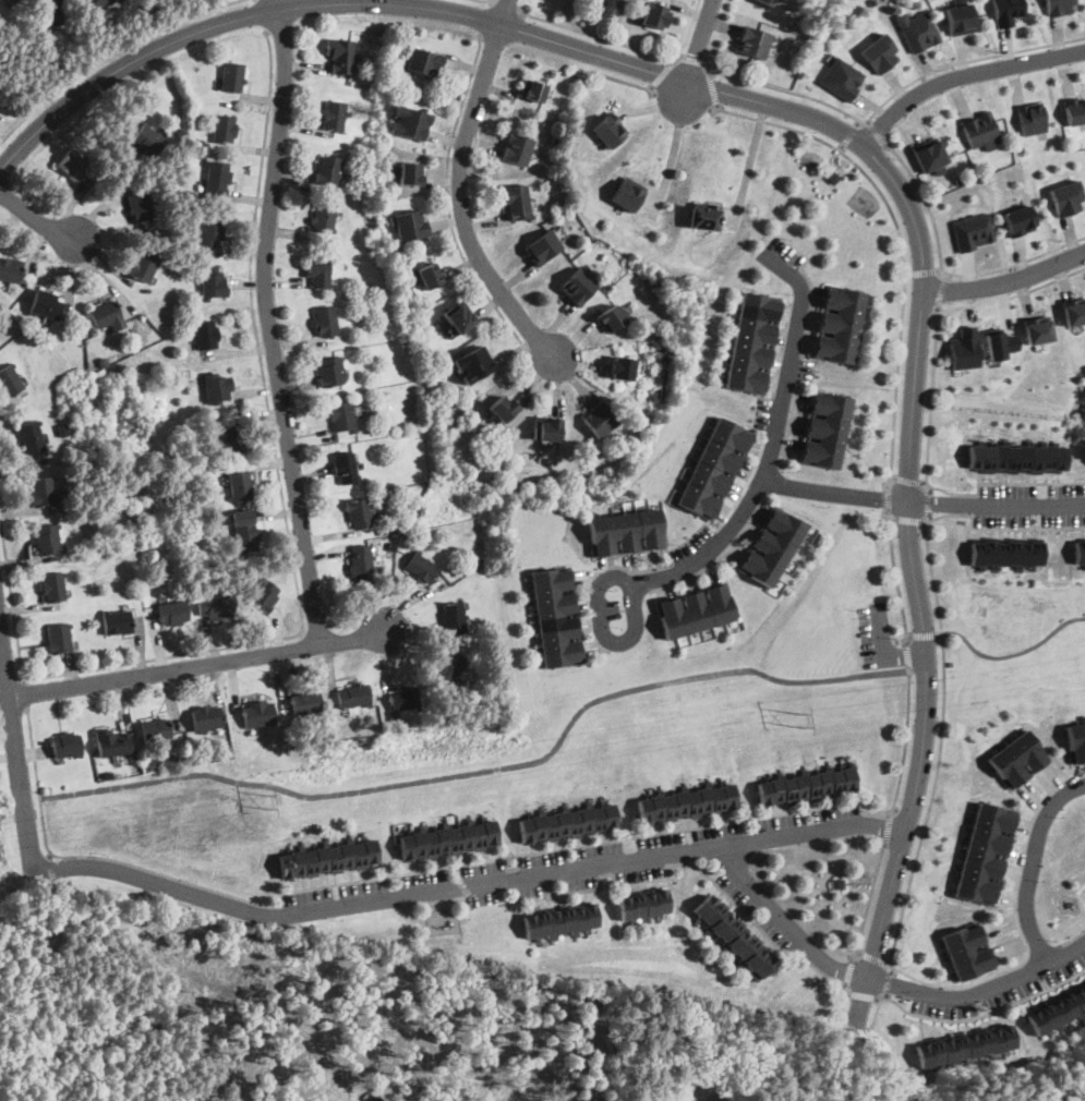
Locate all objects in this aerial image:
building: (10, 0)
road: (487, 1)
building: (94, 2)
building: (768, 2)
road: (507, 4)
building: (1059, 7)
building: (53, 10)
building: (1005, 11)
road: (261, 14)
building: (653, 14)
road: (485, 17)
building: (957, 17)
building: (915, 31)
road: (699, 39)
building: (754, 43)
road: (629, 47)
building: (878, 51)
building: (340, 53)
road: (109, 55)
road: (692, 59)
building: (423, 61)
building: (232, 75)
road: (663, 75)
road: (962, 75)
building: (840, 78)
road: (626, 81)
building: (532, 89)
road: (714, 89)
road: (684, 93)
road: (884, 100)
building: (1075, 109)
building: (334, 114)
building: (1030, 117)
building: (410, 122)
building: (224, 128)
building: (608, 130)
building: (978, 130)
road: (875, 132)
road: (851, 134)
road: (851, 137)
building: (148, 138)
road: (841, 147)
building: (517, 148)
building: (928, 155)
road: (671, 157)
road: (751, 157)
building: (72, 164)
building: (328, 168)
building: (410, 172)
building: (217, 177)
road: (459, 187)
building: (627, 193)
building: (1066, 197)
building: (516, 199)
road: (926, 204)
building: (140, 205)
road: (447, 206)
building: (706, 215)
road: (36, 216)
building: (323, 217)
building: (1018, 219)
building: (410, 223)
building: (212, 230)
building: (972, 231)
road: (900, 243)
building: (543, 246)
building: (143, 264)
road: (1012, 265)
building: (10, 268)
building: (318, 271)
road: (920, 274)
building: (427, 275)
road: (1006, 280)
building: (213, 281)
building: (577, 286)
road: (941, 292)
road: (1012, 297)
building: (46, 304)
building: (1074, 311)
building: (106, 316)
building: (458, 316)
building: (612, 318)
building: (324, 319)
road: (268, 322)
building: (839, 325)
building: (1037, 328)
building: (204, 334)
building: (752, 342)
building: (1000, 342)
building: (964, 347)
building: (472, 365)
building: (622, 368)
building: (329, 371)
building: (10, 380)
building: (216, 386)
building: (503, 408)
building: (342, 419)
building: (599, 420)
building: (546, 428)
building: (824, 429)
building: (31, 436)
building: (231, 438)
building: (1016, 457)
building: (345, 468)
building: (713, 469)
road: (908, 481)
road: (923, 484)
building: (239, 485)
road: (800, 487)
building: (41, 491)
road: (889, 498)
road: (929, 501)
building: (359, 511)
road: (909, 520)
road: (1022, 529)
building: (244, 531)
building: (625, 531)
building: (46, 537)
building: (771, 546)
building: (1080, 549)
building: (1005, 552)
road: (291, 553)
building: (361, 564)
building: (420, 568)
road: (896, 574)
road: (630, 577)
building: (53, 585)
building: (263, 594)
building: (216, 607)
building: (696, 610)
building: (172, 612)
building: (453, 615)
building: (556, 616)
building: (117, 620)
road: (920, 634)
building: (59, 636)
road: (1009, 654)
road: (907, 657)
road: (197, 663)
building: (448, 666)
building: (352, 693)
road: (25, 694)
building: (403, 698)
building: (305, 701)
building: (257, 713)
building: (207, 718)
power tower: (799, 718)
building: (156, 731)
building: (112, 740)
building: (1075, 740)
building: (67, 743)
road: (16, 757)
building: (1016, 759)
road: (489, 770)
road: (37, 784)
building: (806, 786)
power tower: (268, 799)
building: (687, 802)
building: (567, 822)
road: (888, 828)
building: (448, 838)
road: (538, 852)
building: (985, 852)
building: (327, 857)
road: (1032, 864)
road: (467, 885)
road: (906, 898)
building: (644, 903)
road: (869, 905)
building: (560, 919)
building: (733, 936)
road: (1071, 940)
building: (967, 949)
road: (1041, 952)
road: (873, 957)
road: (881, 982)
road: (890, 982)
building: (1058, 1012)
building: (966, 1045)

